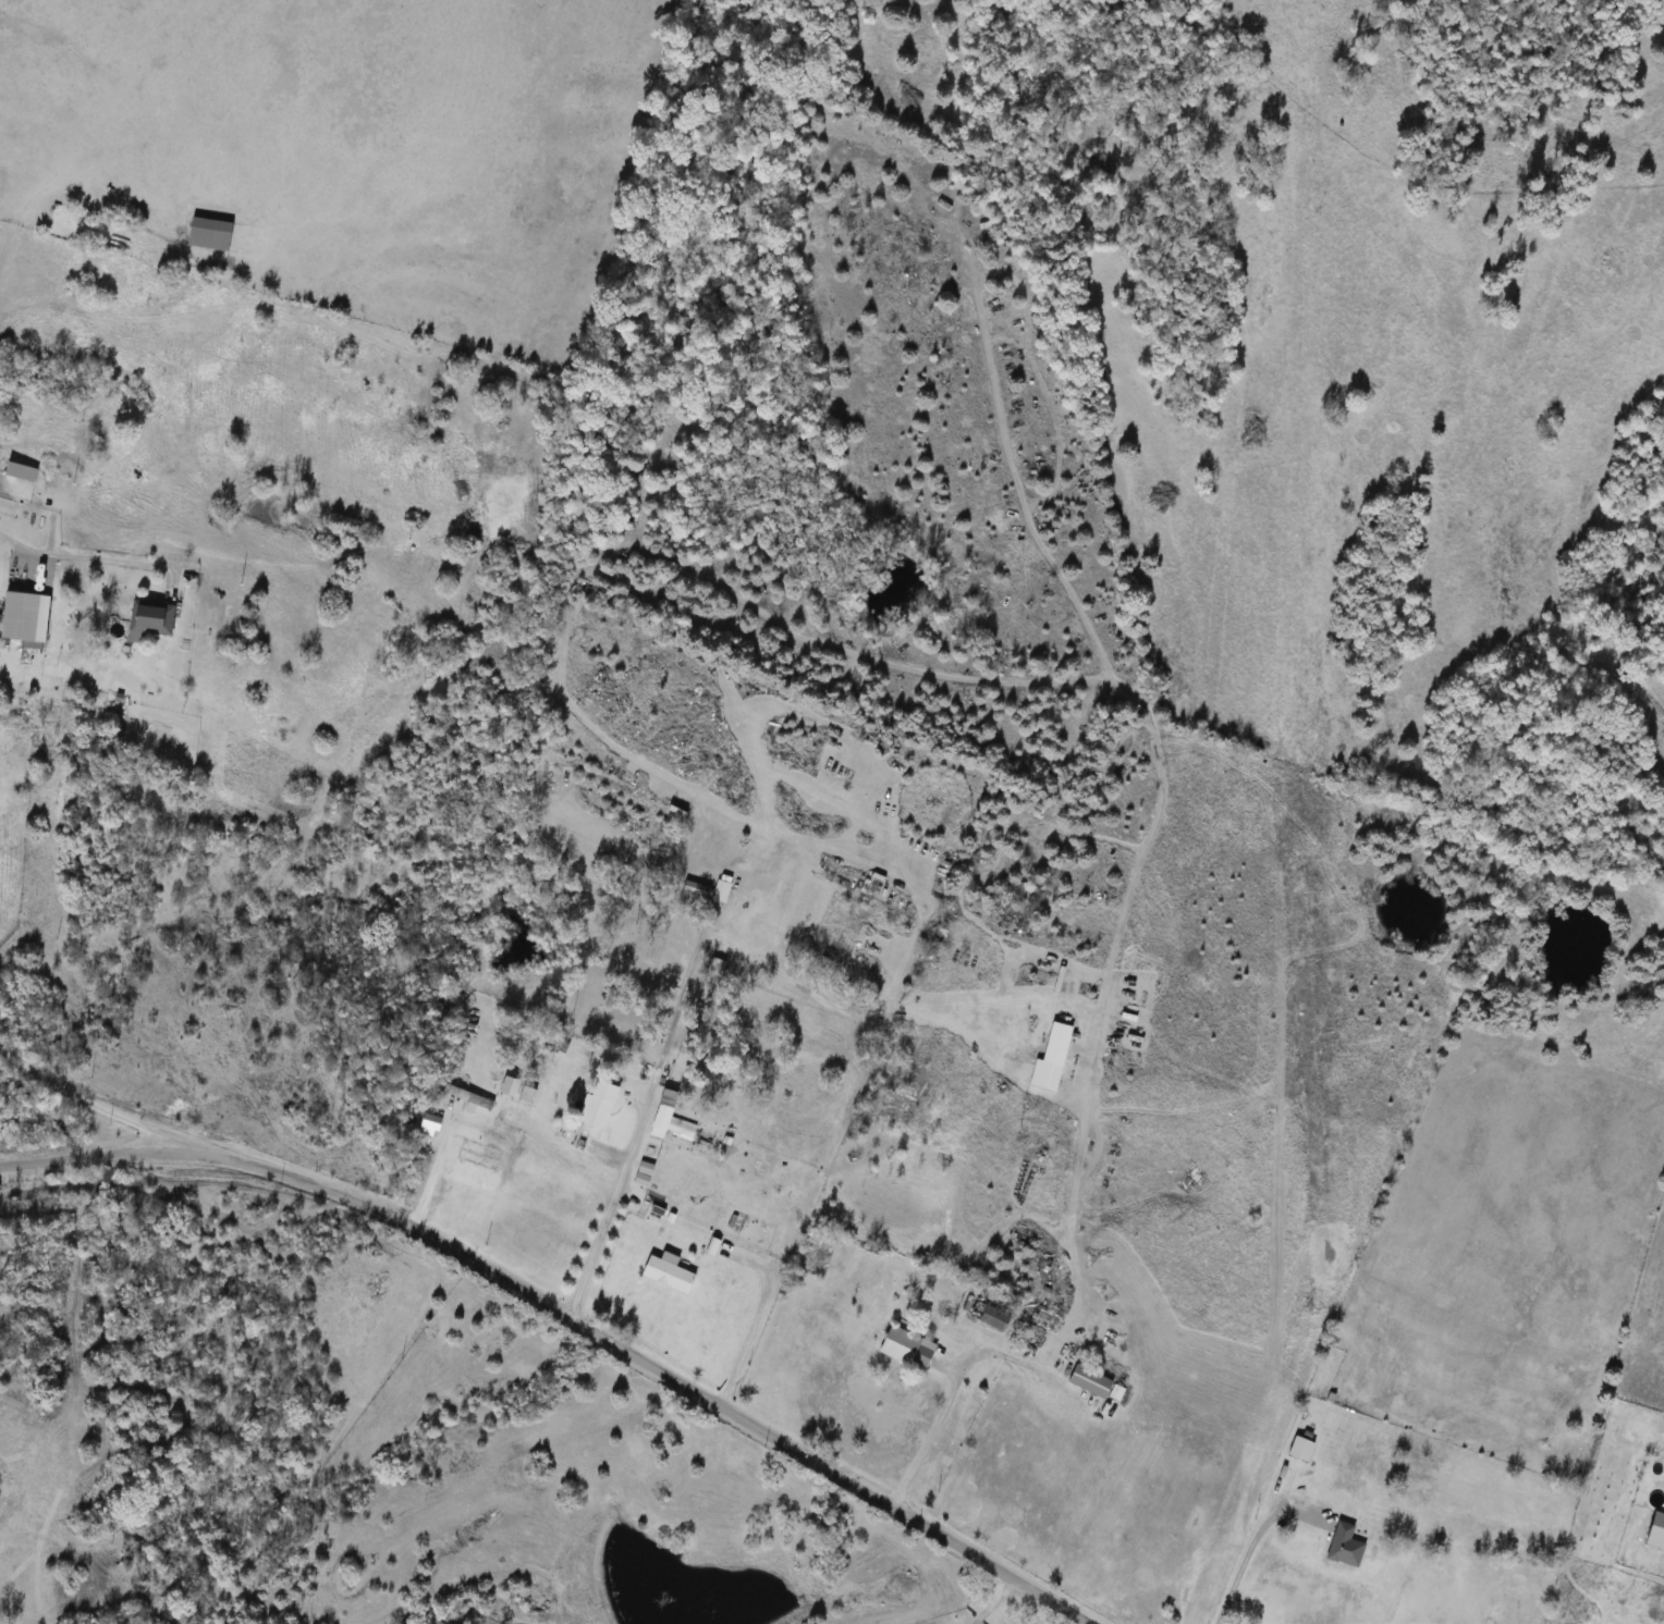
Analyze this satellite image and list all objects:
building: (207, 234)
road: (81, 555)
building: (17, 617)
building: (148, 619)
building: (1018, 891)
building: (1007, 918)
building: (932, 946)
building: (1050, 1058)
building: (526, 1094)
building: (465, 1096)
building: (594, 1100)
road: (106, 1110)
building: (661, 1112)
building: (666, 1120)
building: (575, 1143)
road: (431, 1176)
road: (609, 1210)
road: (436, 1241)
building: (664, 1268)
building: (718, 1295)
building: (989, 1311)
road: (750, 1329)
road: (1062, 1334)
building: (904, 1348)
building: (1088, 1381)
building: (1298, 1448)
building: (1655, 1530)
road: (959, 1546)
building: (1343, 1546)
road: (1246, 1554)
road: (990, 1600)

